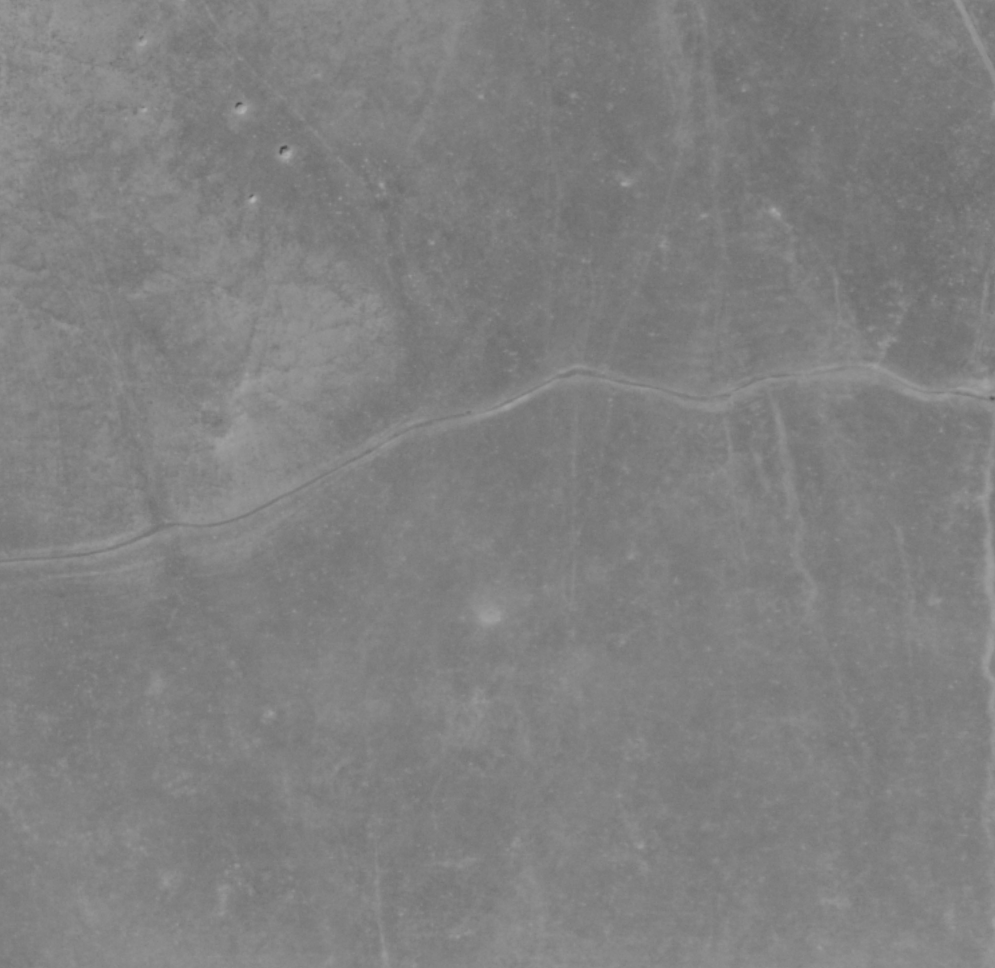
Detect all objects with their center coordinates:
road: (970, 48)

